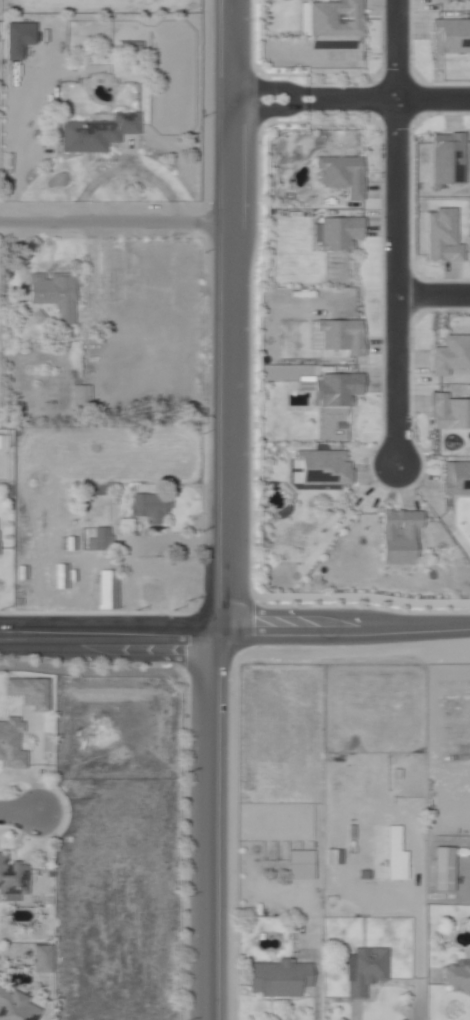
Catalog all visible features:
building: (440, 1)
building: (337, 19)
building: (21, 34)
building: (451, 36)
building: (128, 48)
road: (350, 101)
building: (98, 132)
building: (449, 160)
building: (343, 175)
road: (116, 222)
road: (391, 233)
building: (341, 234)
building: (444, 239)
road: (430, 293)
building: (56, 295)
building: (39, 317)
building: (343, 336)
building: (451, 355)
building: (304, 383)
building: (338, 390)
building: (450, 412)
building: (6, 451)
building: (325, 469)
building: (457, 479)
building: (152, 509)
road: (232, 511)
building: (401, 537)
building: (101, 541)
building: (70, 544)
road: (128, 555)
building: (25, 572)
building: (63, 578)
building: (109, 590)
road: (234, 635)
building: (30, 691)
building: (13, 743)
road: (18, 813)
building: (355, 840)
building: (394, 855)
building: (333, 857)
building: (301, 867)
building: (443, 871)
building: (14, 876)
building: (40, 959)
building: (366, 972)
building: (278, 980)
building: (457, 981)
building: (17, 1007)

